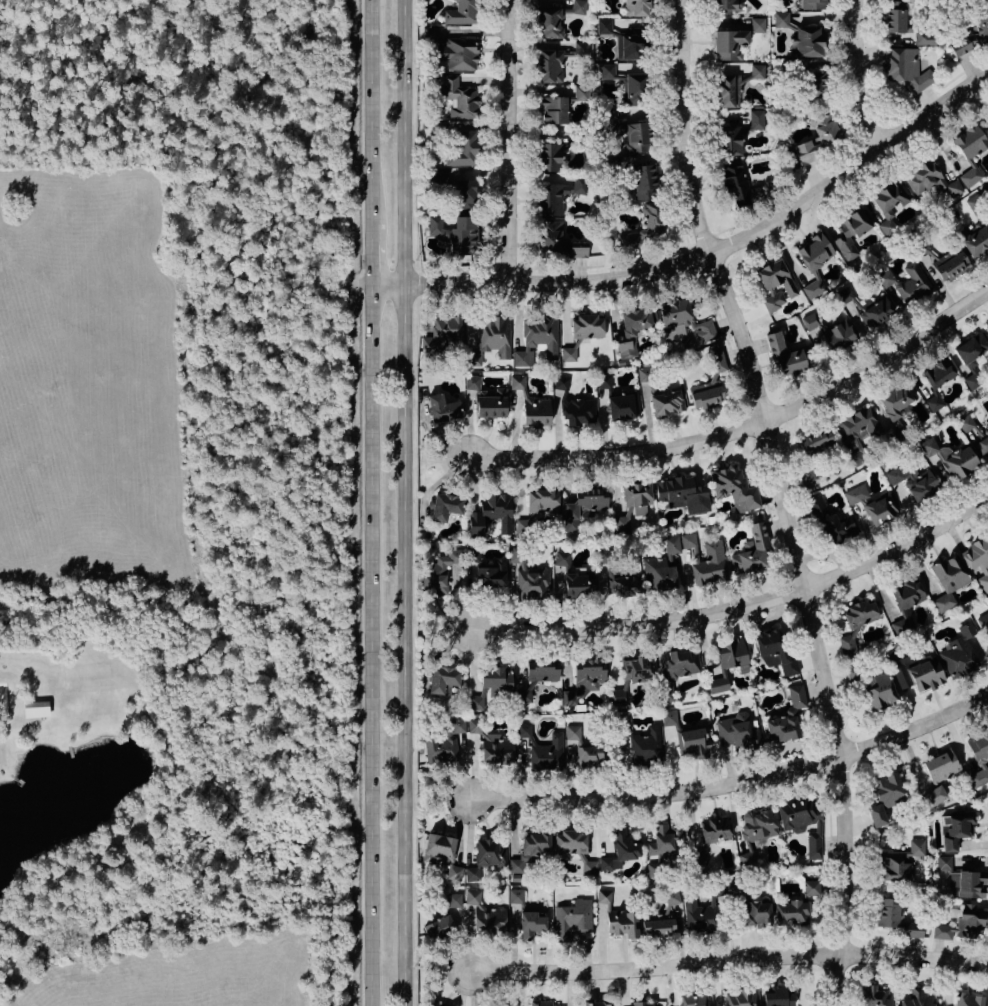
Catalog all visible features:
building: (727, 4)
building: (813, 4)
building: (578, 6)
building: (636, 7)
building: (462, 13)
building: (895, 16)
building: (781, 20)
building: (550, 22)
building: (757, 25)
building: (429, 34)
building: (971, 37)
building: (925, 38)
building: (623, 40)
building: (807, 42)
building: (729, 44)
building: (460, 53)
building: (557, 61)
building: (905, 67)
road: (852, 78)
building: (626, 83)
building: (814, 84)
building: (735, 85)
building: (581, 93)
building: (459, 98)
building: (553, 110)
road: (367, 112)
building: (756, 119)
building: (638, 137)
building: (818, 138)
road: (515, 140)
building: (729, 140)
building: (970, 141)
building: (463, 149)
building: (549, 156)
building: (439, 175)
building: (970, 176)
building: (930, 179)
building: (644, 181)
building: (734, 181)
building: (464, 194)
building: (557, 195)
building: (974, 201)
building: (889, 203)
building: (650, 219)
road: (724, 227)
building: (456, 233)
building: (851, 233)
building: (550, 235)
building: (627, 241)
building: (976, 241)
road: (716, 248)
building: (577, 252)
road: (367, 255)
building: (813, 262)
building: (945, 262)
building: (909, 283)
building: (776, 284)
road: (383, 285)
building: (875, 310)
building: (683, 319)
building: (635, 321)
building: (587, 326)
building: (833, 331)
building: (442, 333)
building: (490, 338)
building: (537, 340)
building: (625, 349)
building: (568, 354)
building: (645, 374)
building: (937, 380)
building: (472, 382)
building: (604, 382)
building: (709, 383)
building: (561, 384)
building: (895, 402)
building: (530, 403)
building: (667, 403)
building: (491, 404)
building: (621, 407)
building: (442, 408)
building: (578, 411)
building: (965, 422)
road: (739, 429)
building: (857, 431)
building: (984, 442)
building: (950, 457)
building: (913, 481)
building: (733, 486)
building: (682, 494)
building: (856, 494)
road: (787, 498)
road: (399, 502)
building: (632, 504)
building: (584, 505)
building: (445, 506)
building: (537, 507)
building: (879, 508)
building: (490, 514)
building: (830, 522)
building: (752, 552)
building: (977, 558)
building: (562, 559)
building: (440, 570)
building: (706, 571)
building: (491, 575)
building: (948, 580)
building: (532, 581)
building: (575, 585)
building: (625, 585)
building: (905, 604)
road: (734, 607)
building: (984, 620)
building: (855, 624)
road: (367, 646)
building: (773, 650)
building: (959, 652)
building: (726, 662)
building: (682, 663)
building: (542, 671)
building: (632, 674)
building: (925, 674)
building: (442, 679)
building: (584, 679)
building: (487, 684)
building: (873, 687)
building: (523, 695)
building: (796, 695)
building: (36, 709)
building: (668, 718)
building: (473, 725)
building: (456, 726)
building: (782, 727)
building: (737, 730)
building: (572, 732)
building: (692, 741)
building: (646, 745)
building: (496, 748)
building: (440, 749)
building: (583, 756)
building: (978, 758)
building: (940, 765)
road: (731, 784)
building: (933, 795)
building: (884, 797)
building: (801, 822)
building: (758, 824)
building: (956, 828)
building: (716, 829)
building: (663, 846)
building: (438, 848)
building: (574, 848)
building: (530, 849)
building: (620, 850)
building: (700, 856)
building: (485, 858)
building: (747, 858)
building: (899, 862)
building: (454, 872)
building: (960, 879)
building: (811, 887)
building: (515, 895)
building: (453, 899)
building: (702, 911)
building: (756, 913)
building: (790, 913)
building: (888, 913)
building: (485, 914)
building: (571, 918)
building: (614, 918)
building: (661, 918)
building: (969, 920)
building: (531, 924)
building: (442, 927)
building: (912, 930)
building: (942, 931)
road: (723, 960)
building: (777, 996)
building: (875, 996)
building: (741, 997)
building: (919, 998)
building: (967, 999)
building: (692, 1000)
building: (542, 1003)
building: (597, 1003)
building: (646, 1004)

